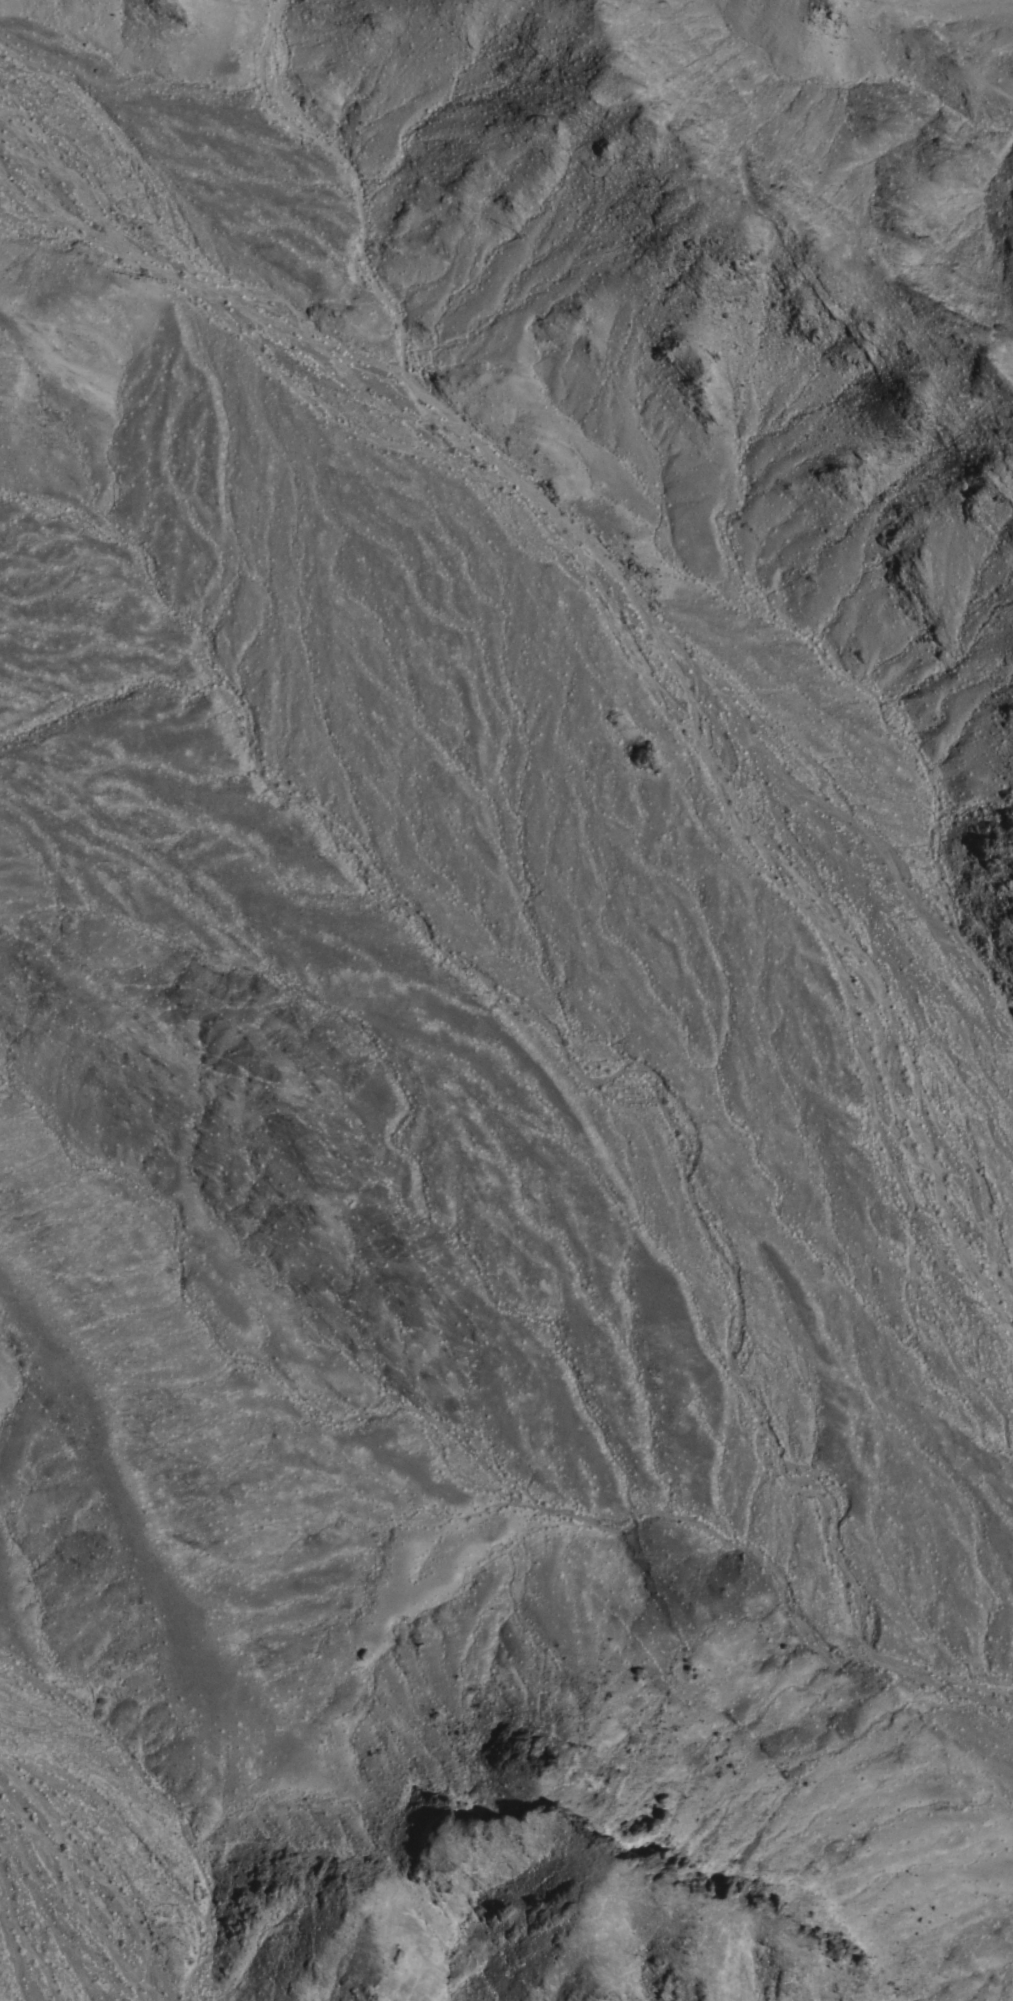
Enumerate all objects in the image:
road: (6, 1885)

